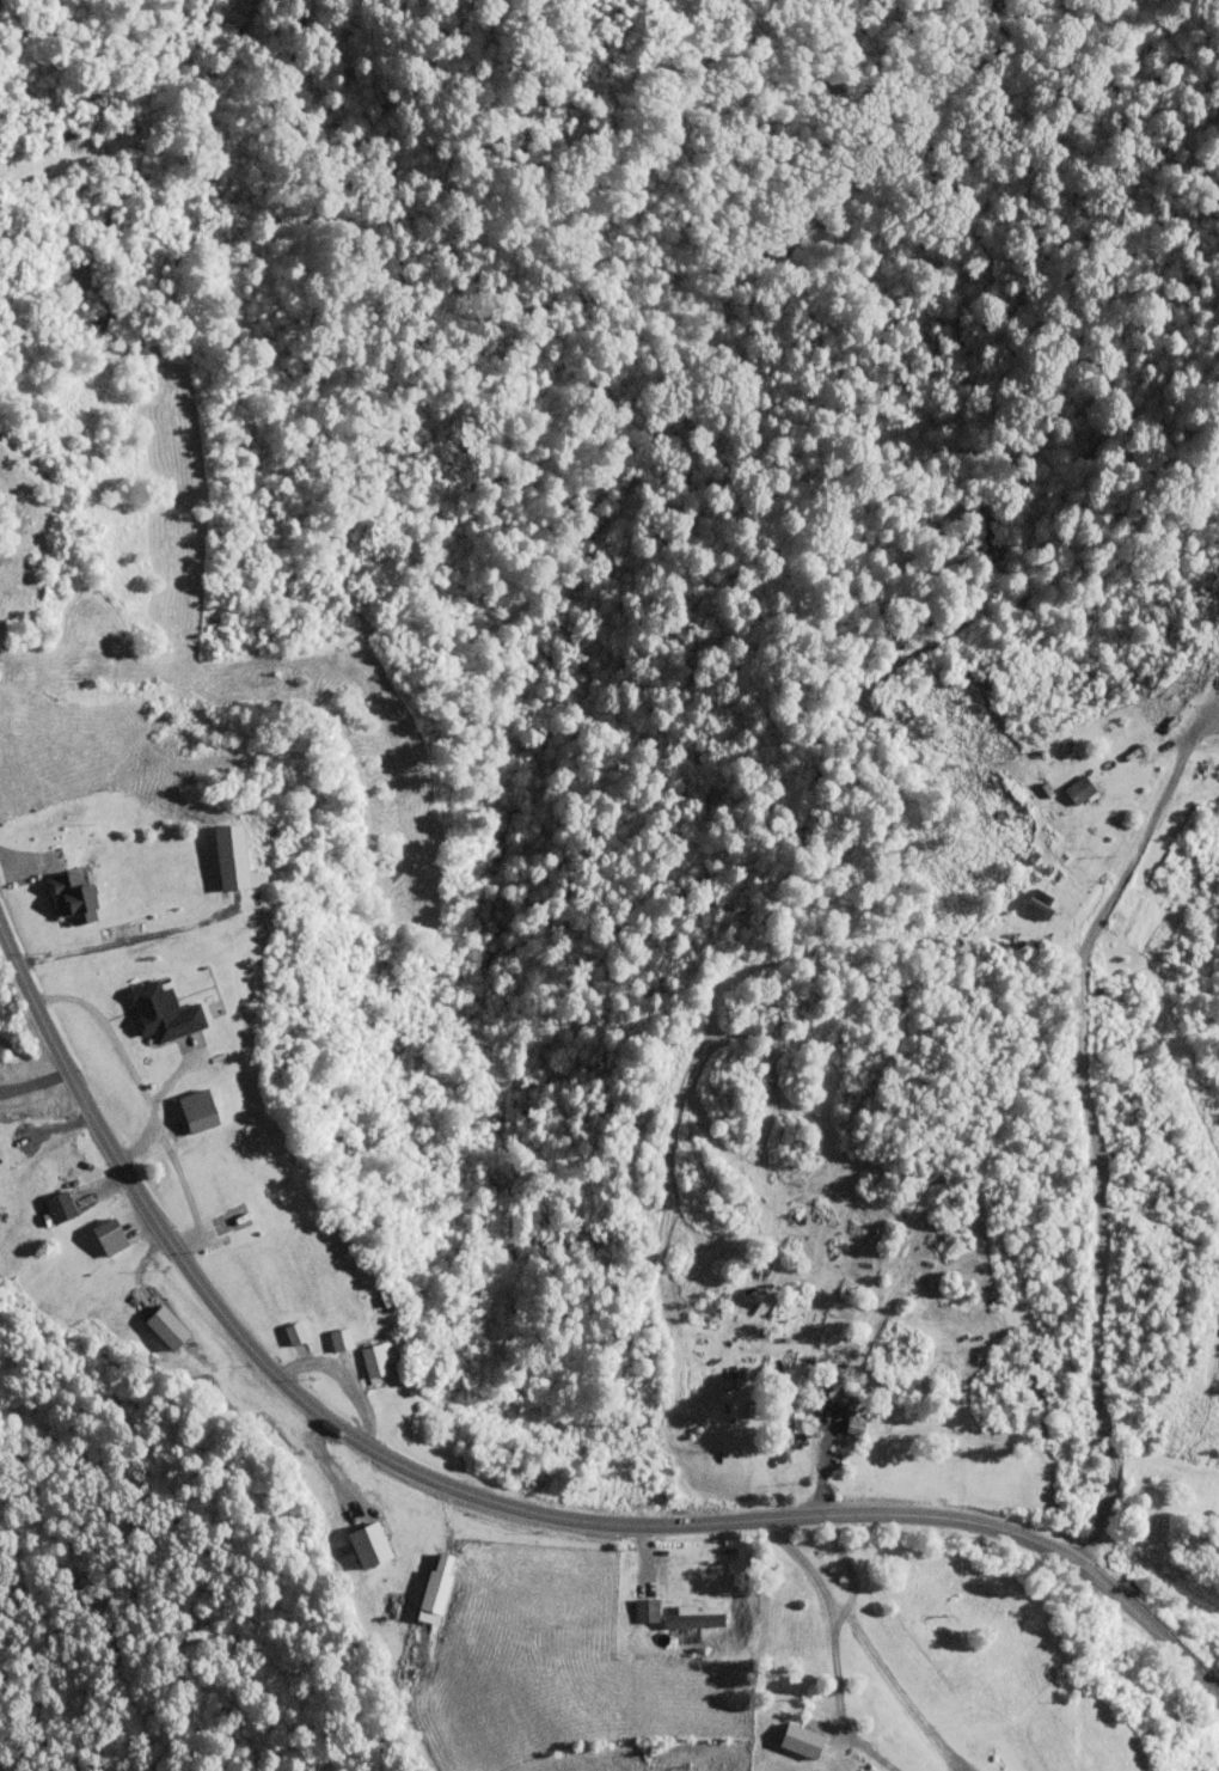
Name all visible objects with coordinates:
road: (180, 684)
building: (1177, 715)
building: (1079, 788)
building: (232, 854)
building: (74, 893)
building: (1039, 903)
road: (123, 941)
building: (163, 1010)
building: (198, 1110)
road: (1090, 1119)
building: (59, 1205)
building: (110, 1234)
building: (166, 1326)
building: (295, 1332)
building: (341, 1338)
building: (379, 1361)
building: (835, 1384)
building: (790, 1423)
building: (271, 1433)
building: (840, 1433)
road: (497, 1502)
building: (368, 1544)
road: (801, 1562)
road: (840, 1563)
building: (670, 1616)
road: (896, 1690)
road: (833, 1703)

